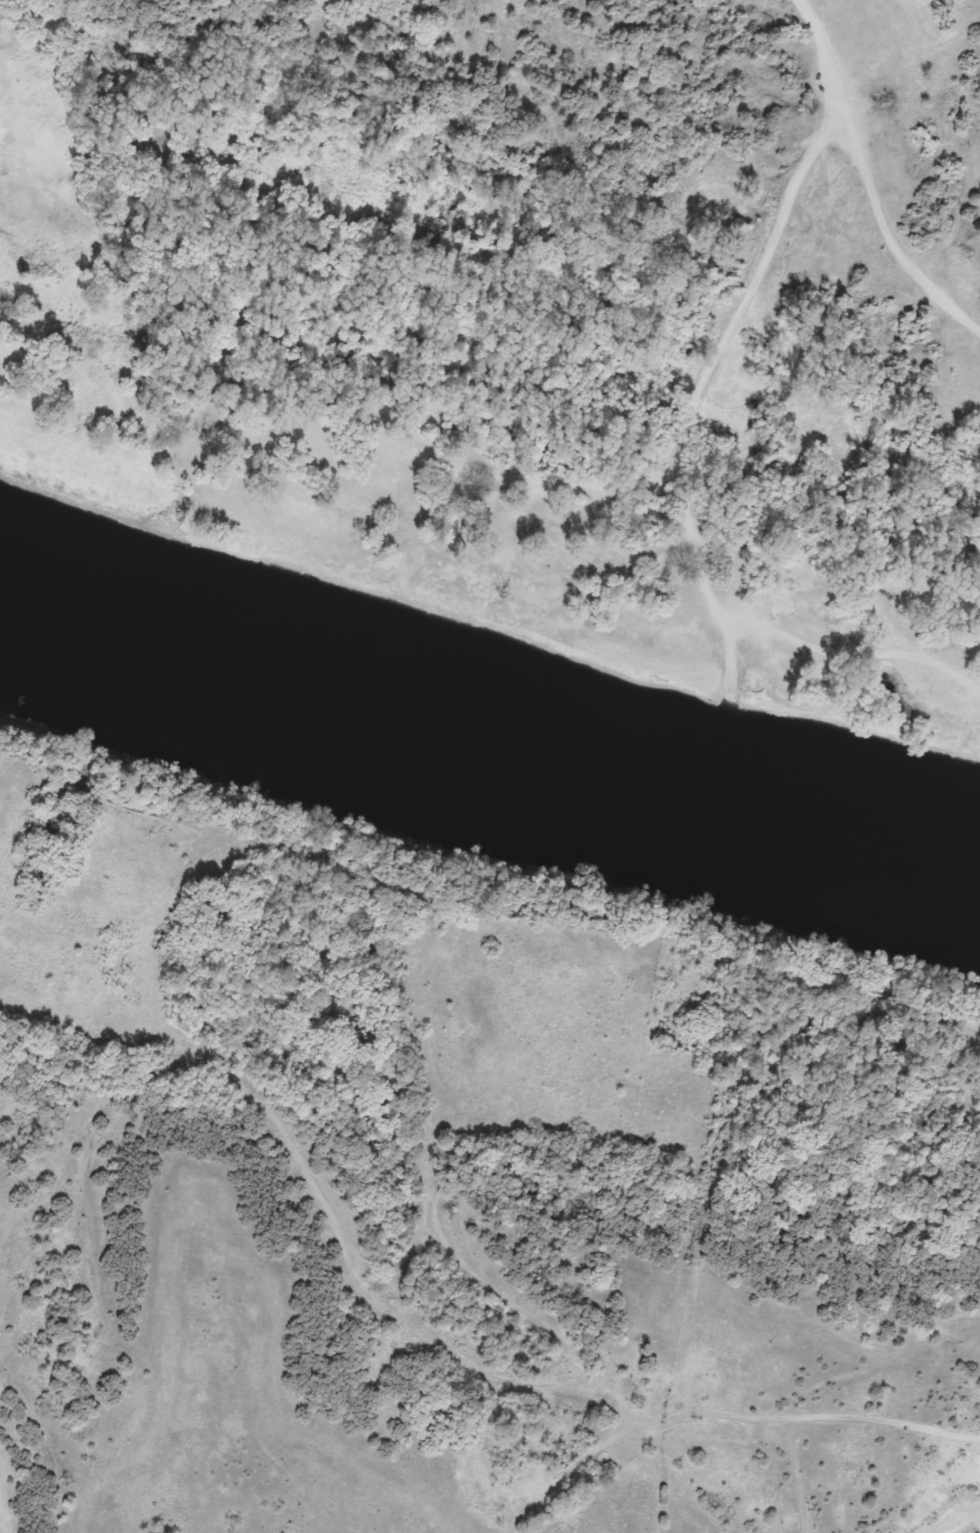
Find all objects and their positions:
road: (814, 33)
road: (828, 83)
road: (884, 226)
road: (675, 480)
river: (484, 746)

